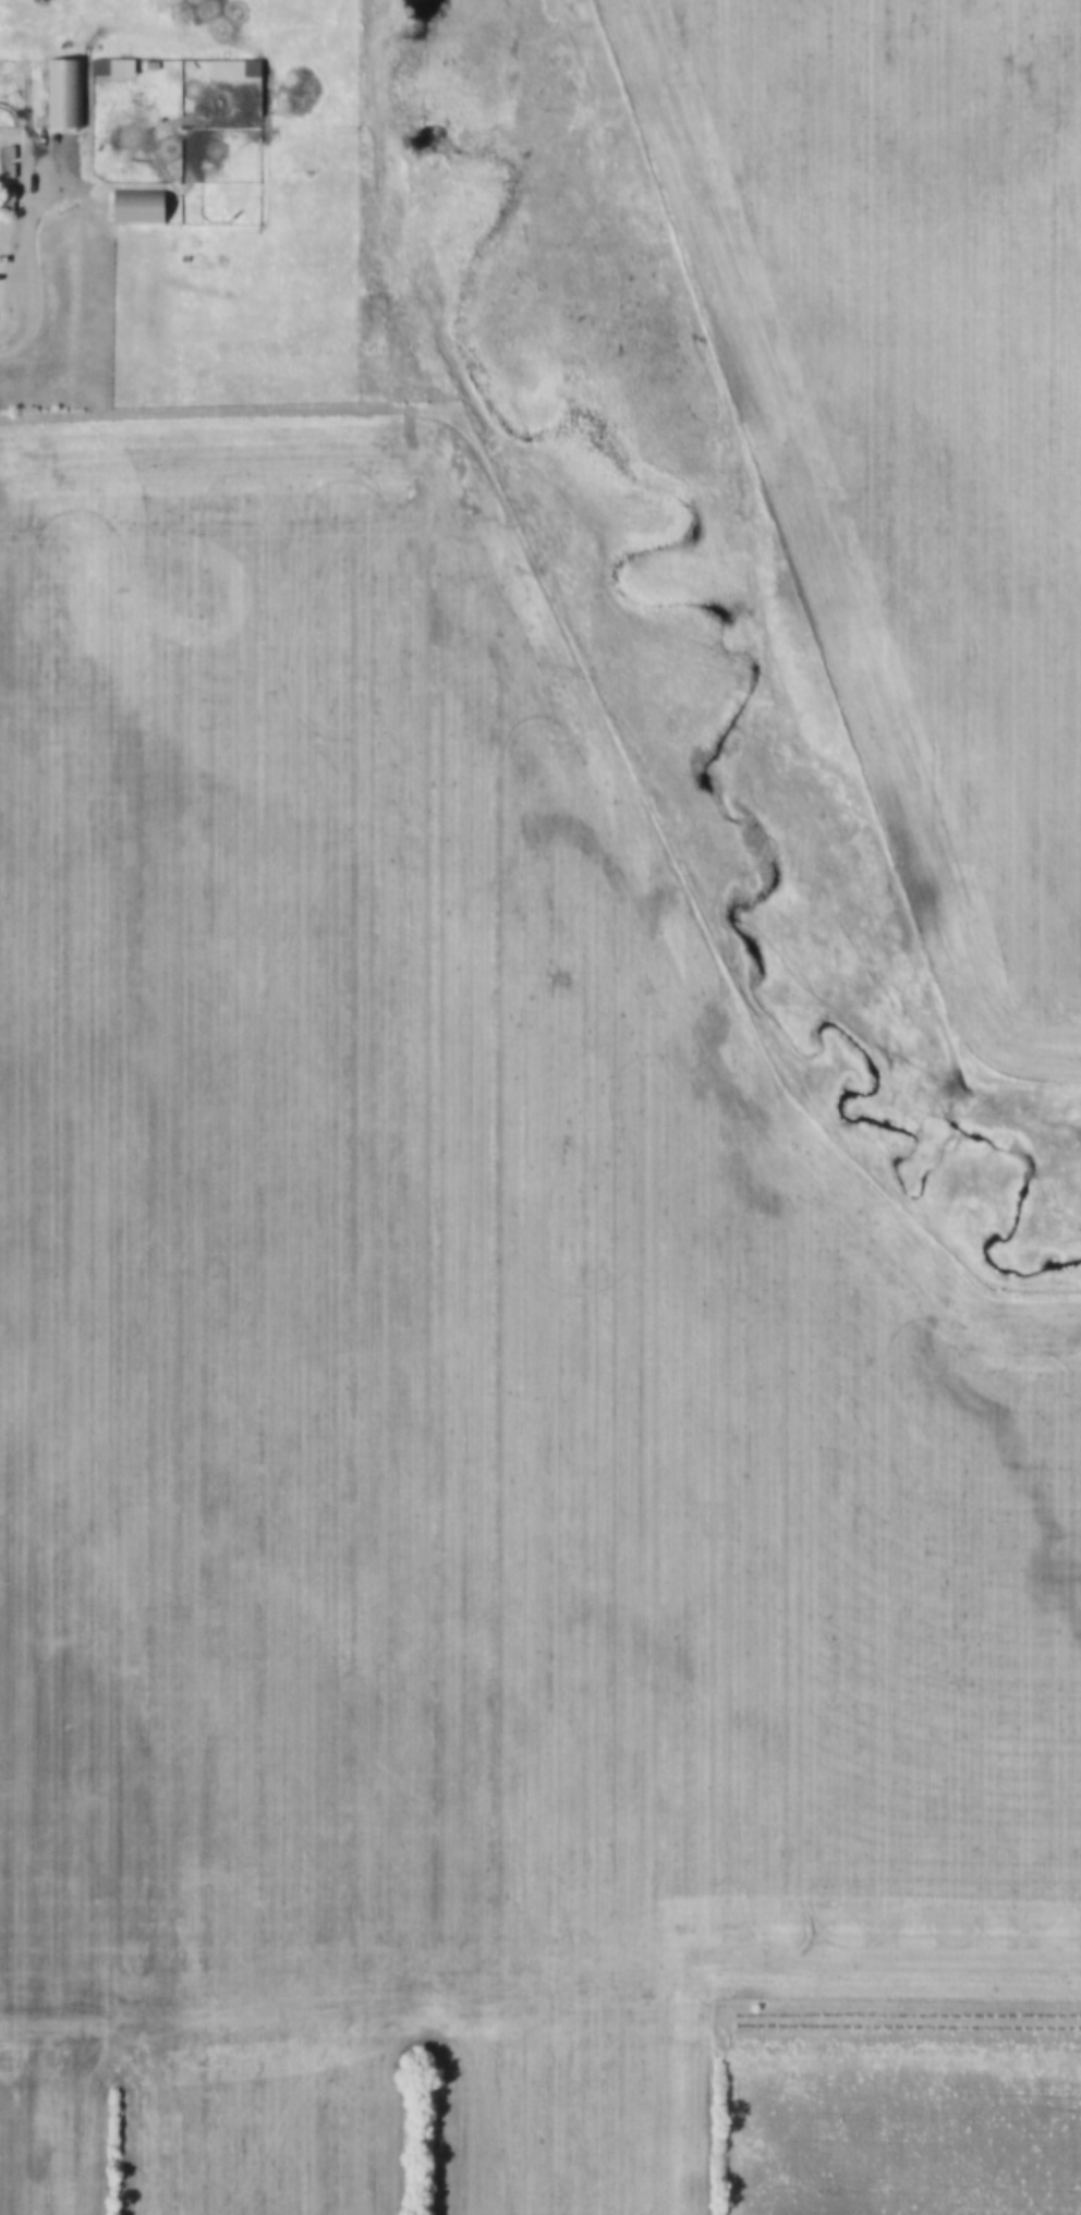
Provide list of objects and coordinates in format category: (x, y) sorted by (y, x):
building: (255, 69)
building: (135, 137)
building: (143, 210)
road: (23, 239)
road: (539, 2045)
road: (733, 2131)

